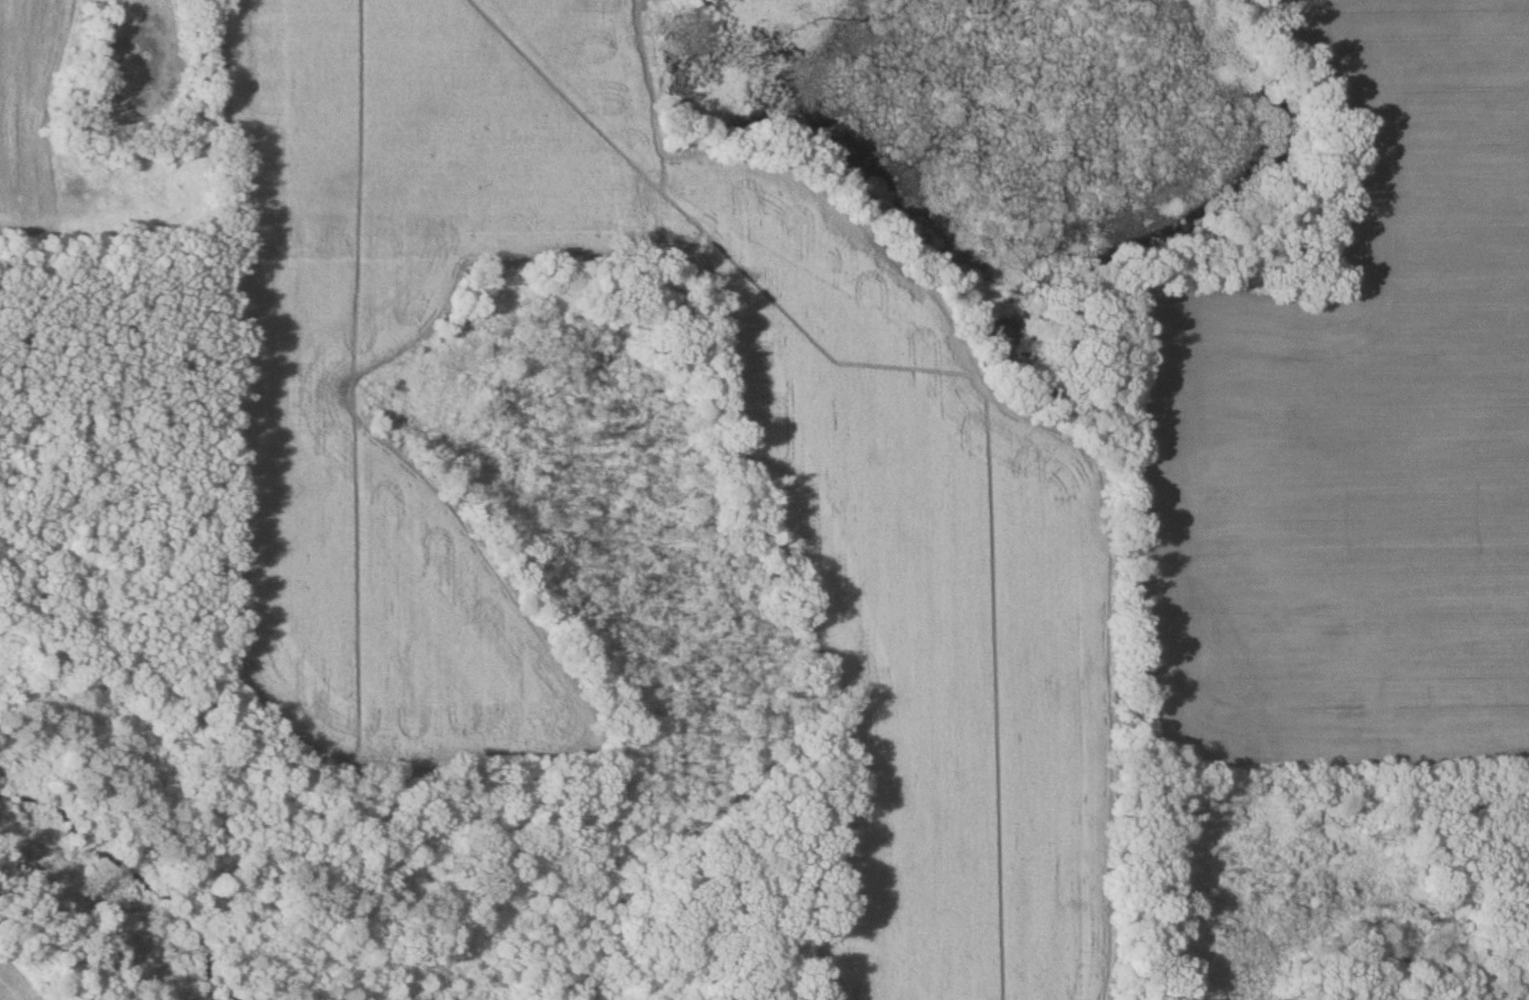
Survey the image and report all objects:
road: (1446, 230)

